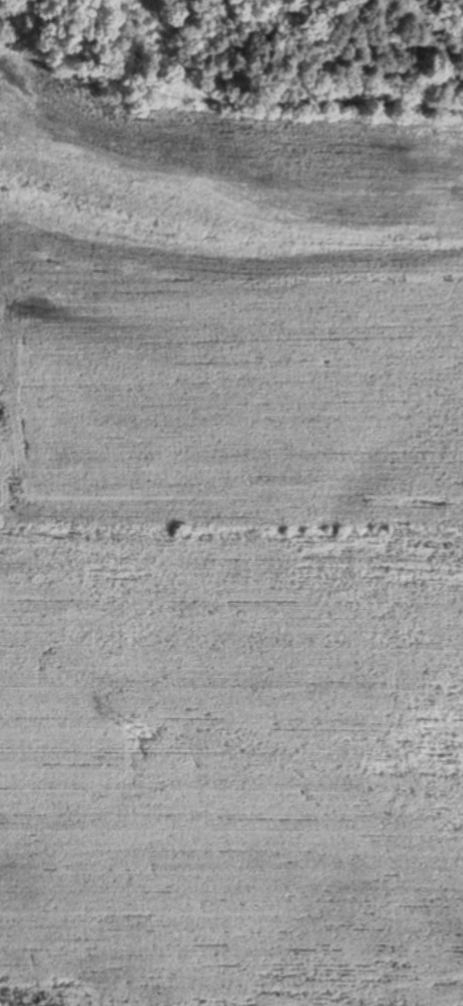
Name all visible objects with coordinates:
power tower: (138, 730)

